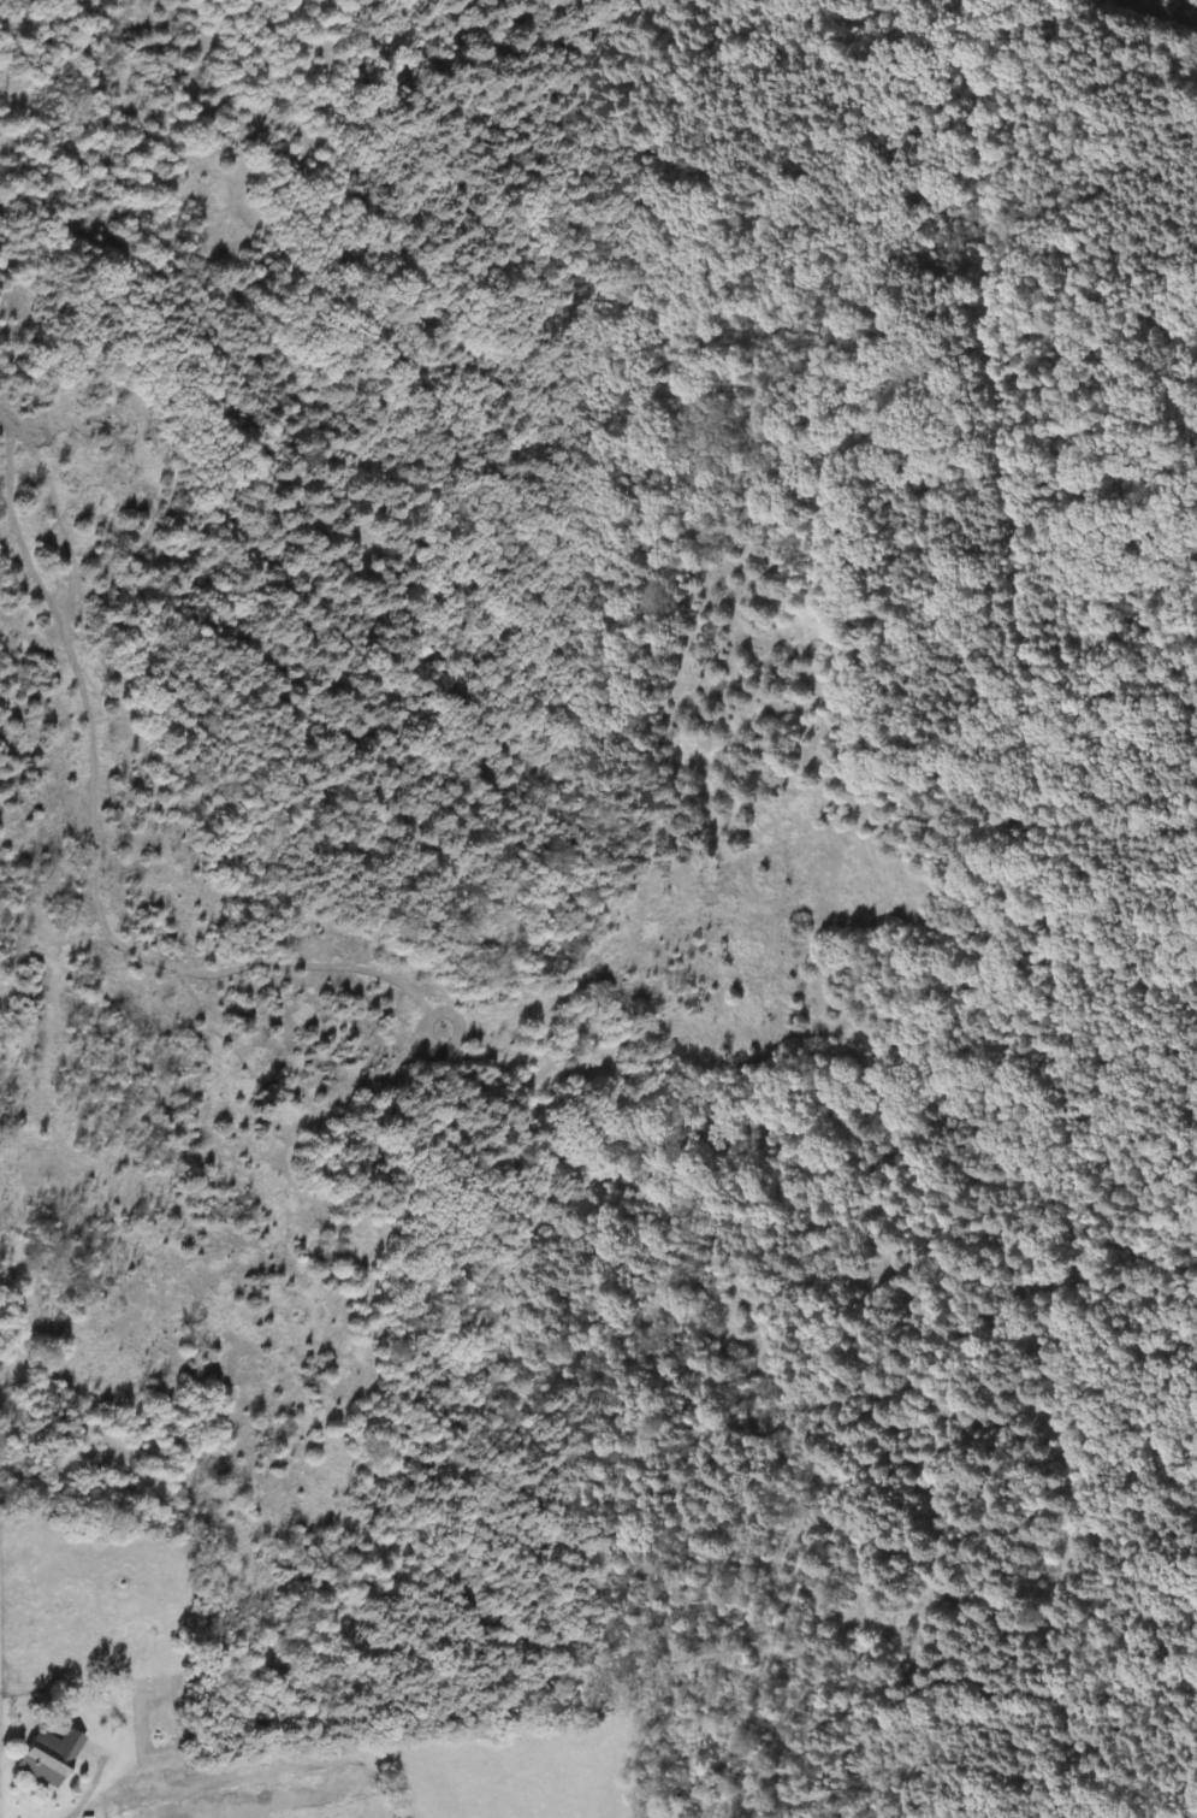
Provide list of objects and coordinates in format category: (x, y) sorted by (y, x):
building: (45, 1757)
road: (88, 1793)

